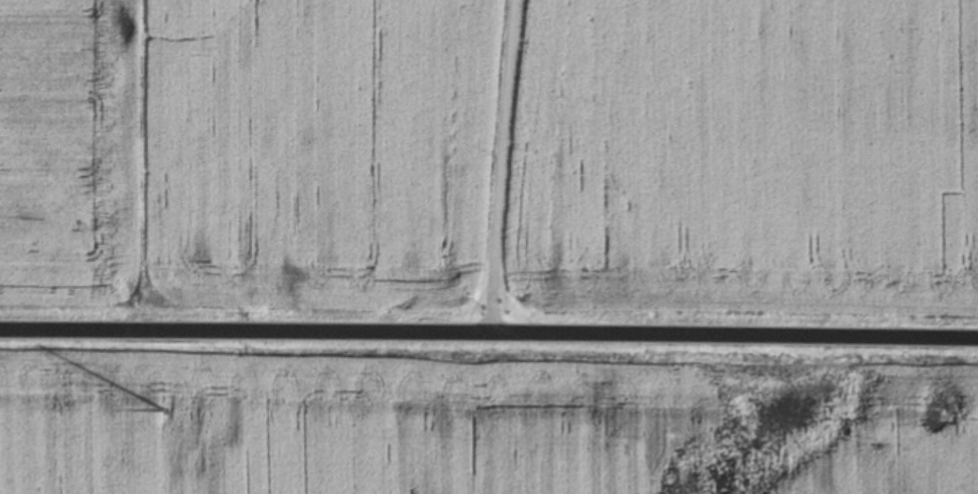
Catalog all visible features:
road: (489, 333)
power tower: (163, 409)

